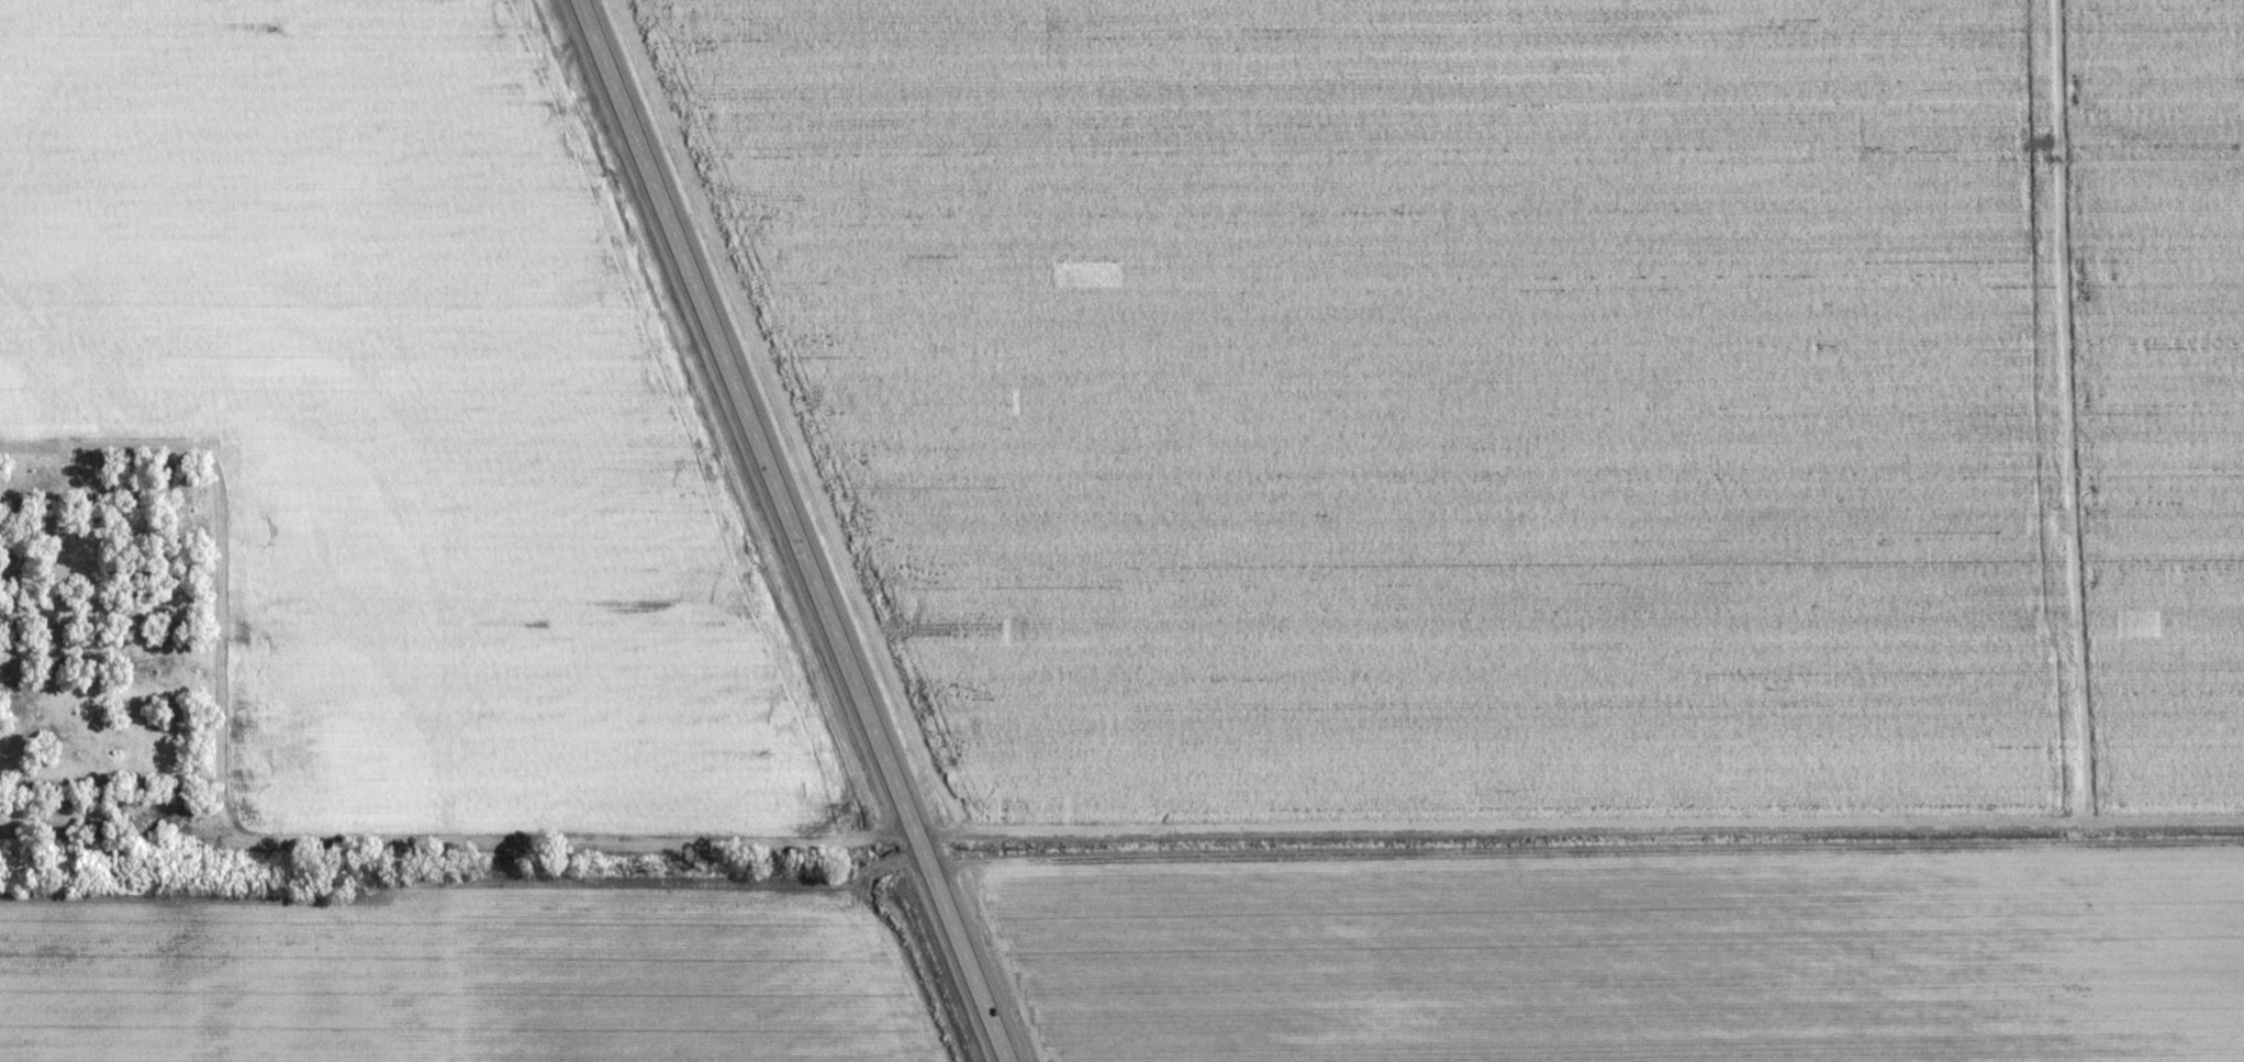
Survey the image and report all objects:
road: (791, 530)

